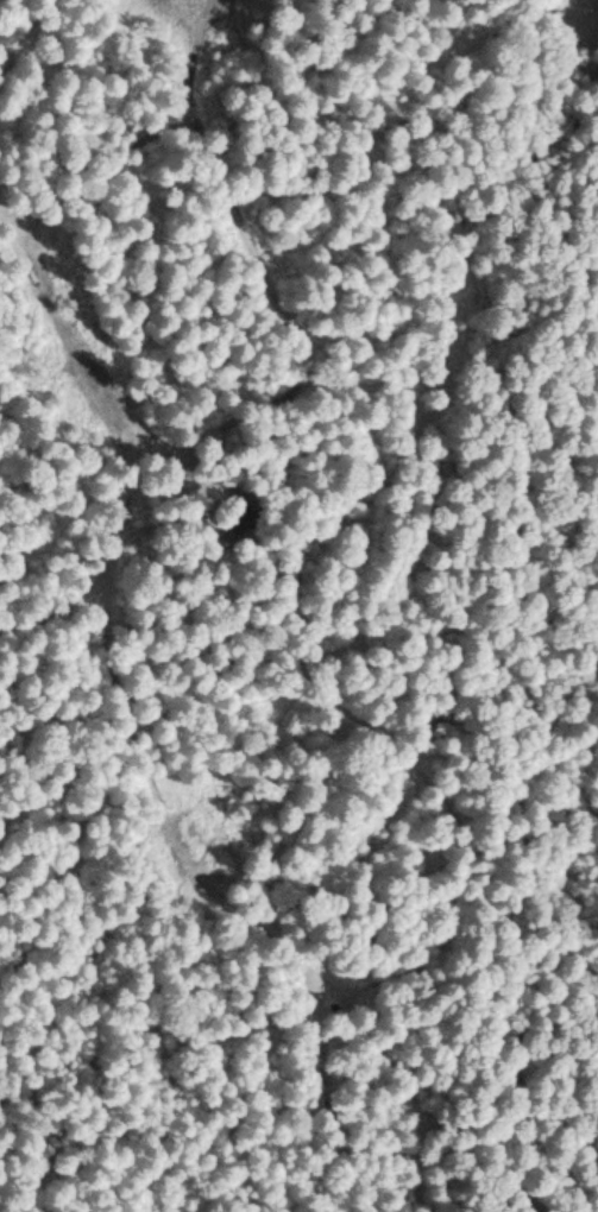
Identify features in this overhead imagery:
building: (240, 520)

